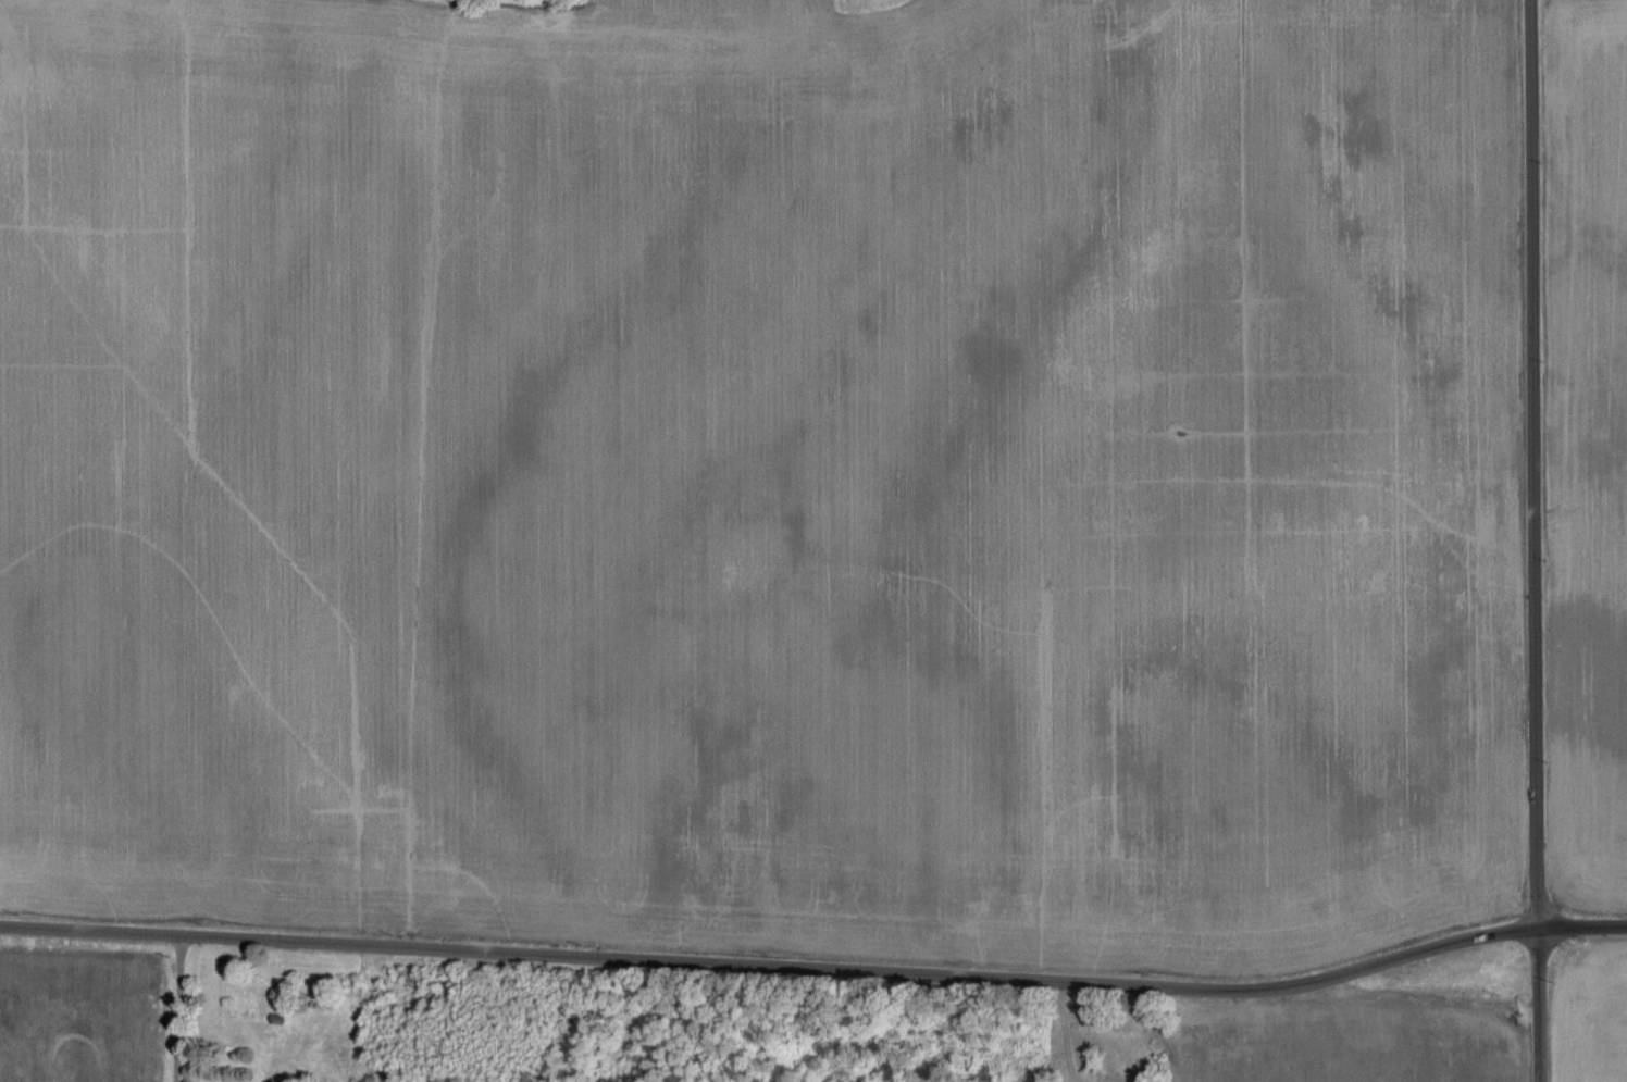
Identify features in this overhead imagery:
road: (1533, 464)
road: (817, 970)
road: (1540, 1006)
road: (179, 1009)

